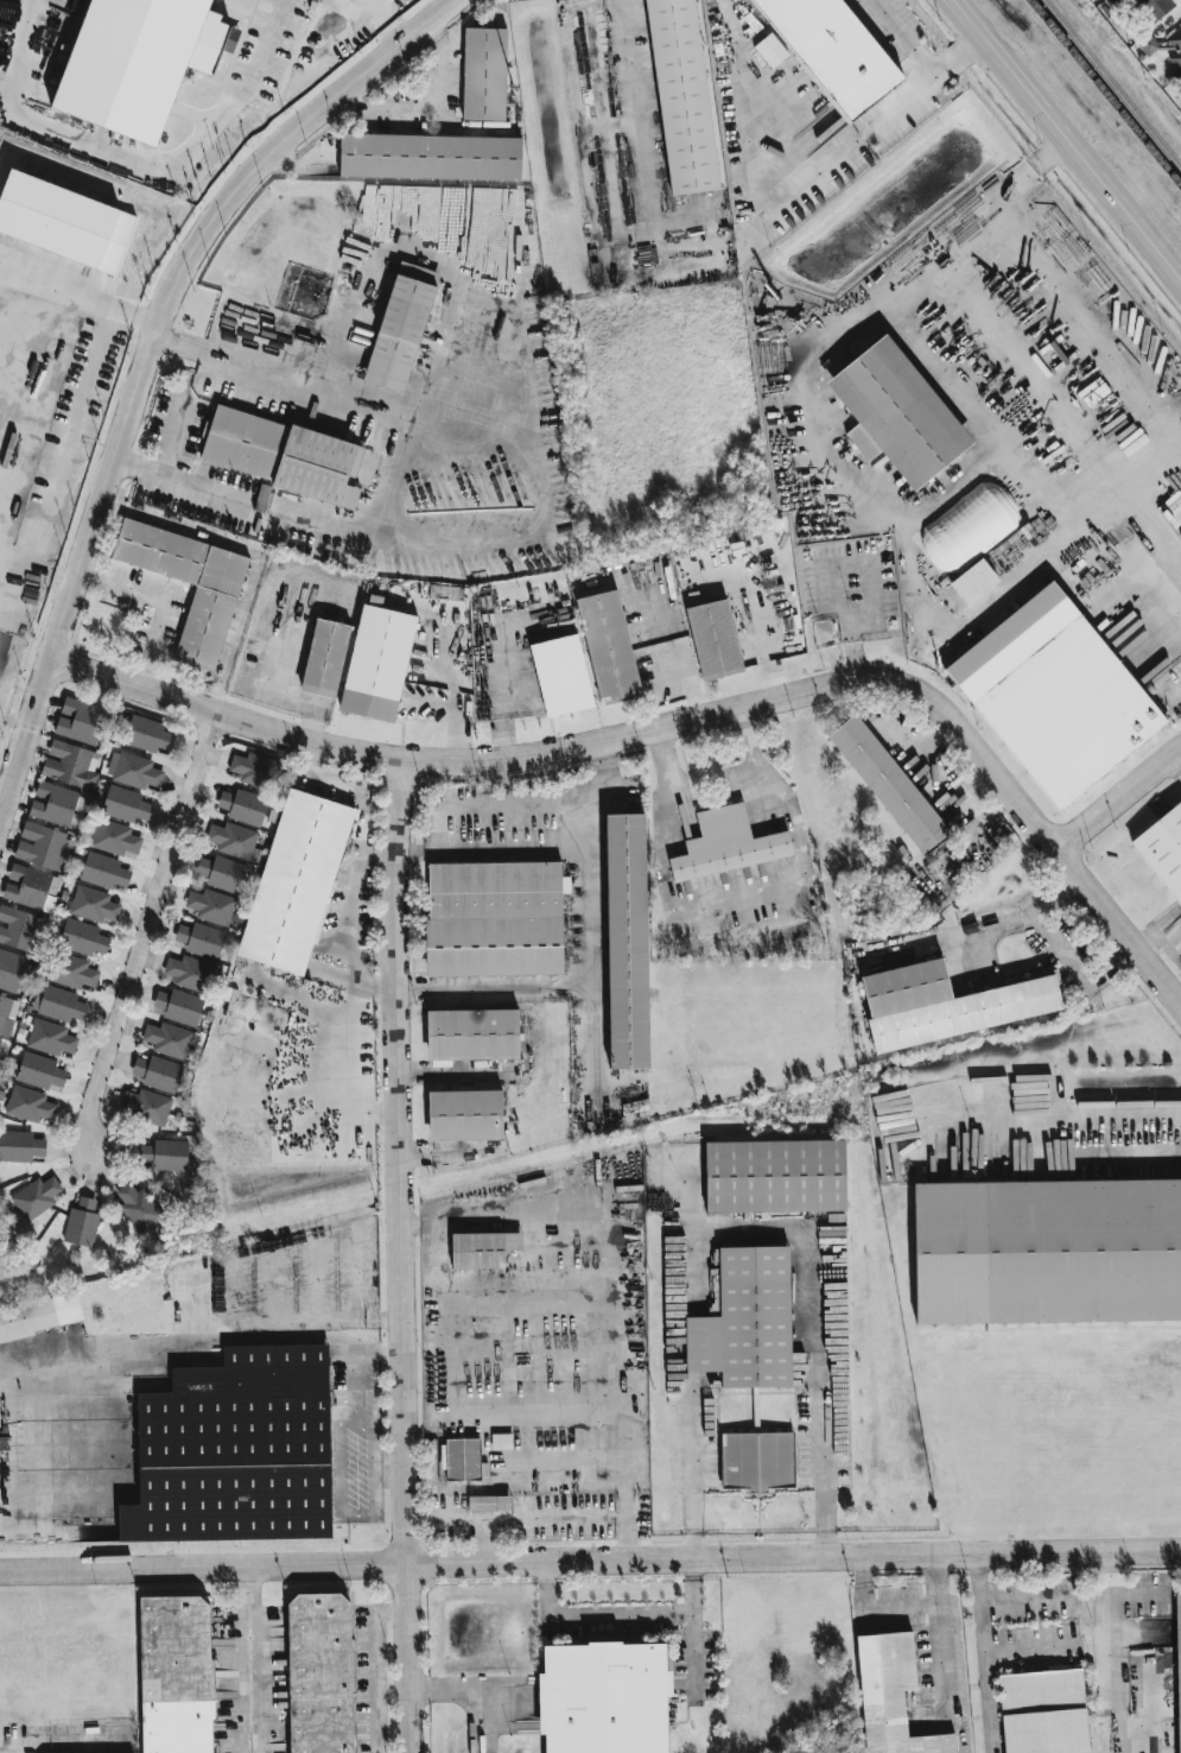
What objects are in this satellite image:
road: (373, 1)
building: (1153, 8)
building: (7, 17)
road: (387, 21)
road: (904, 39)
building: (1175, 49)
building: (770, 50)
building: (832, 51)
road: (961, 58)
building: (138, 62)
building: (484, 74)
railway: (1113, 83)
railway: (1105, 91)
road: (634, 96)
building: (681, 96)
road: (426, 107)
road: (260, 120)
road: (1067, 138)
building: (430, 157)
road: (133, 159)
road: (805, 170)
building: (63, 222)
road: (1053, 287)
road: (82, 303)
road: (510, 317)
building: (400, 327)
road: (148, 359)
road: (30, 397)
building: (896, 413)
road: (474, 419)
road: (173, 442)
road: (1180, 445)
road: (63, 451)
building: (284, 456)
road: (472, 469)
road: (401, 483)
building: (261, 498)
building: (967, 527)
road: (1050, 529)
road: (254, 567)
building: (445, 593)
road: (163, 601)
building: (207, 621)
parking lot: (665, 635)
building: (713, 640)
road: (769, 641)
building: (608, 646)
road: (288, 656)
building: (324, 658)
building: (376, 662)
road: (507, 664)
building: (561, 675)
building: (1055, 695)
road: (466, 701)
road: (704, 705)
road: (310, 708)
building: (80, 721)
building: (147, 735)
road: (588, 746)
building: (70, 765)
building: (133, 770)
building: (254, 770)
building: (887, 784)
road: (590, 796)
road: (1120, 798)
building: (55, 804)
building: (125, 804)
building: (243, 806)
road: (495, 808)
building: (114, 838)
building: (234, 841)
building: (726, 843)
building: (43, 847)
building: (1163, 849)
road: (560, 850)
road: (380, 857)
road: (361, 860)
building: (103, 871)
building: (222, 873)
building: (296, 881)
building: (31, 888)
road: (739, 897)
building: (93, 905)
building: (211, 906)
building: (494, 919)
road: (1119, 923)
building: (17, 928)
road: (146, 934)
building: (82, 938)
building: (201, 939)
building: (626, 941)
building: (11, 970)
building: (71, 972)
building: (189, 973)
road: (494, 986)
building: (944, 1002)
building: (58, 1004)
building: (179, 1006)
building: (7, 1014)
road: (593, 1029)
building: (471, 1034)
building: (50, 1038)
building: (170, 1039)
building: (0, 1042)
building: (39, 1071)
building: (157, 1072)
building: (28, 1105)
building: (146, 1106)
building: (464, 1115)
road: (1090, 1115)
building: (20, 1146)
road: (1129, 1150)
building: (164, 1156)
building: (774, 1176)
building: (36, 1197)
building: (138, 1207)
building: (81, 1223)
building: (482, 1249)
building: (1048, 1251)
road: (401, 1255)
building: (39, 1316)
road: (815, 1318)
building: (747, 1322)
road: (159, 1346)
road: (357, 1380)
road: (687, 1413)
building: (501, 1442)
building: (235, 1450)
building: (462, 1460)
building: (757, 1461)
road: (388, 1476)
building: (489, 1504)
road: (351, 1513)
road: (590, 1562)
road: (1029, 1600)
road: (901, 1608)
road: (620, 1613)
road: (1031, 1647)
road: (944, 1648)
road: (985, 1652)
road: (249, 1659)
road: (374, 1666)
building: (1177, 1669)
building: (319, 1673)
building: (176, 1675)
road: (465, 1690)
building: (890, 1696)
building: (603, 1698)
building: (1043, 1713)
road: (76, 1741)

